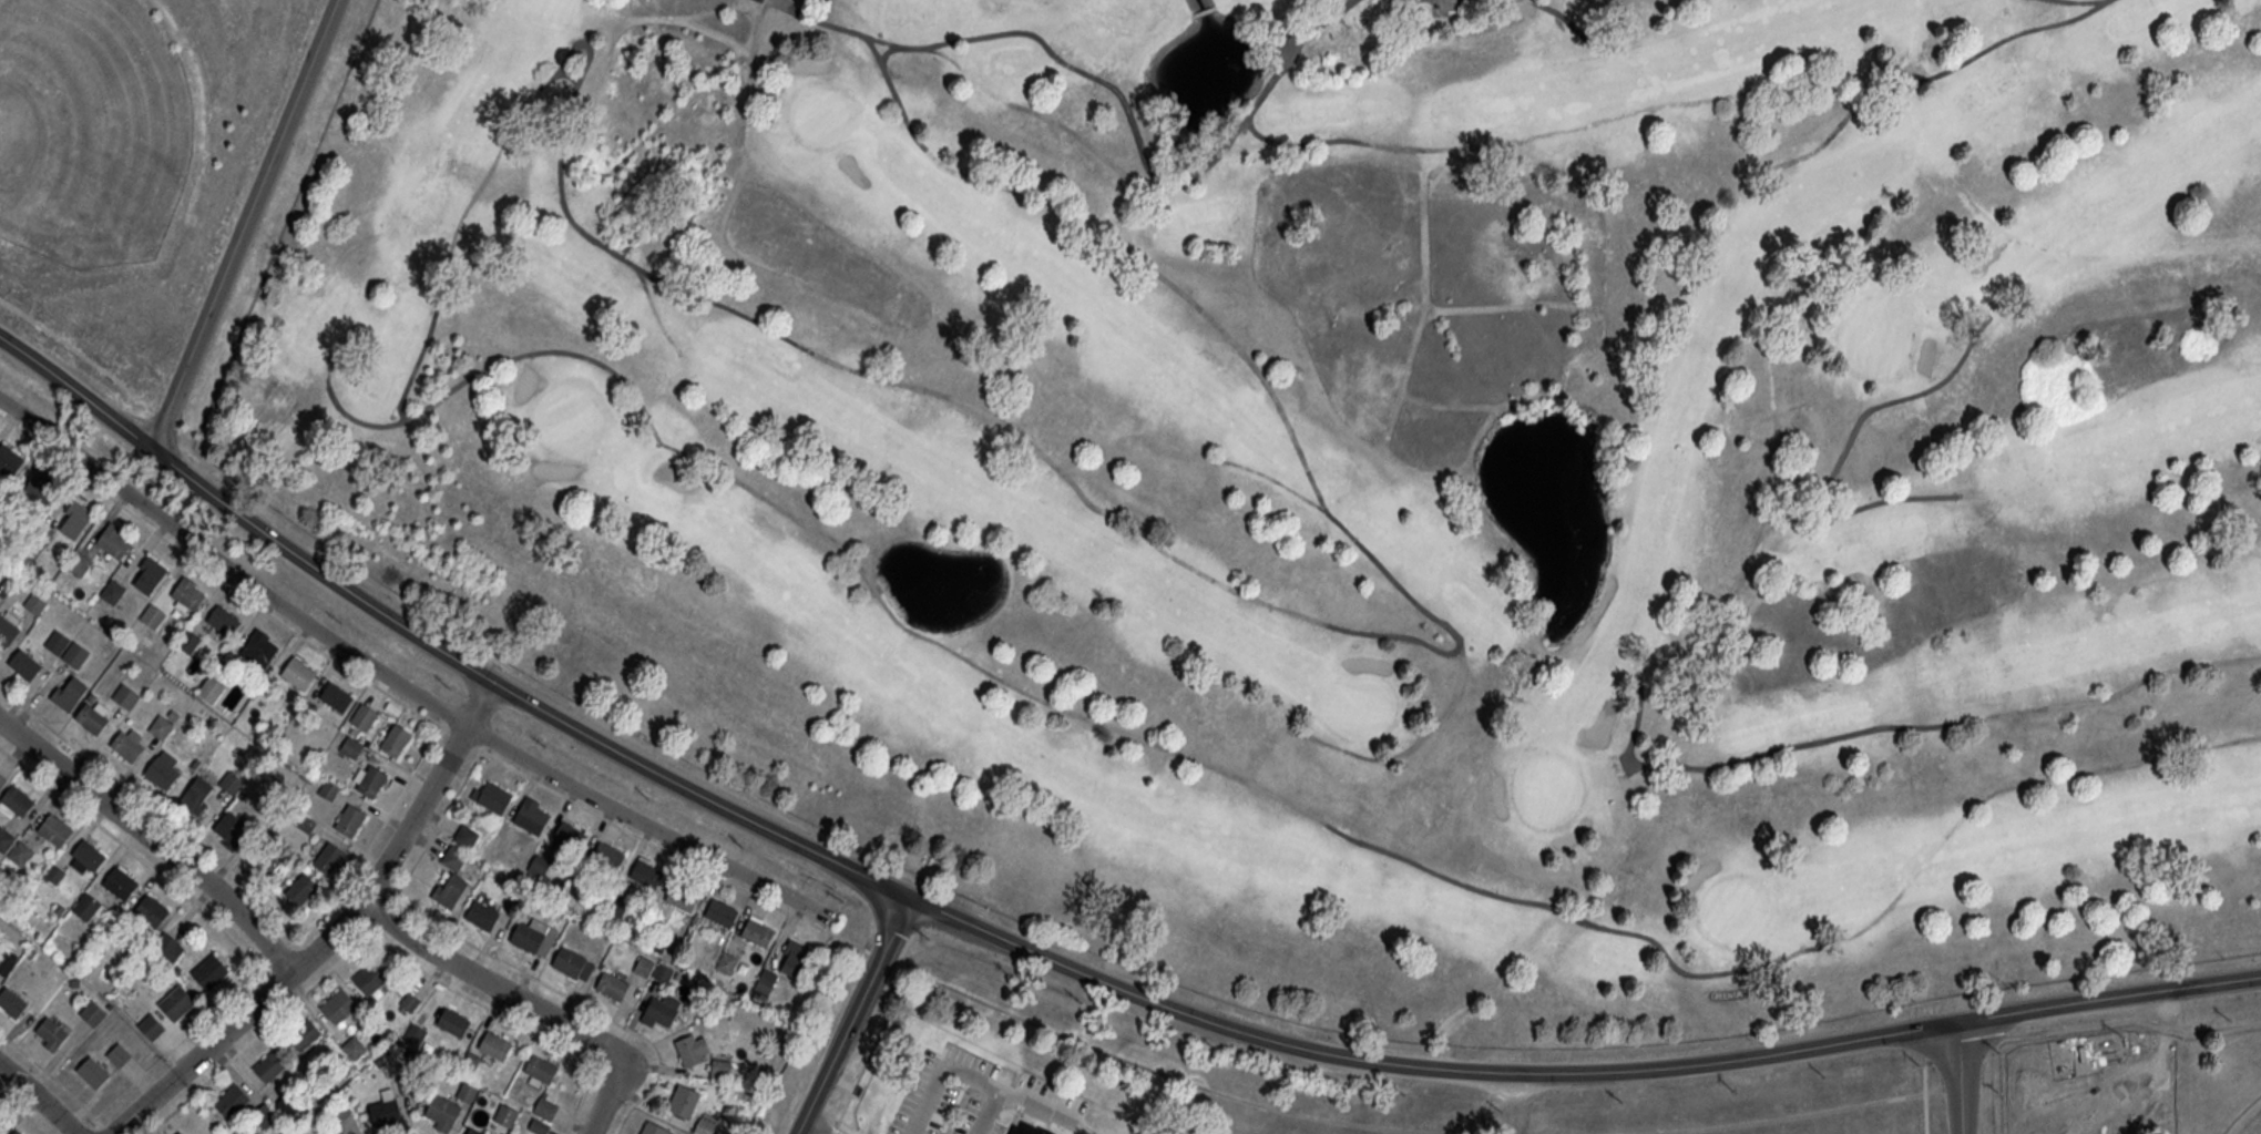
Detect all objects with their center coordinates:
building: (759, 1)
park: (89, 129)
road: (252, 224)
road: (79, 351)
road: (162, 417)
building: (9, 460)
park: (1349, 466)
building: (41, 487)
building: (74, 519)
building: (115, 540)
building: (78, 562)
road: (233, 564)
building: (149, 574)
building: (113, 591)
building: (187, 594)
building: (34, 603)
building: (153, 615)
building: (224, 620)
building: (8, 625)
building: (188, 640)
building: (58, 641)
building: (260, 647)
building: (75, 654)
building: (24, 664)
building: (298, 672)
building: (69, 691)
road: (9, 693)
building: (126, 695)
building: (337, 696)
road: (485, 703)
building: (93, 714)
building: (364, 716)
road: (426, 716)
building: (163, 724)
building: (397, 739)
building: (129, 743)
building: (351, 747)
road: (10, 754)
building: (164, 768)
building: (369, 779)
building: (231, 781)
building: (329, 788)
building: (198, 794)
building: (16, 801)
building: (532, 815)
building: (350, 819)
road: (651, 821)
building: (55, 829)
building: (231, 829)
road: (158, 832)
building: (465, 836)
building: (571, 837)
building: (4, 838)
building: (20, 852)
building: (608, 854)
building: (86, 856)
building: (453, 857)
building: (331, 858)
building: (267, 859)
building: (540, 865)
building: (646, 872)
building: (121, 881)
building: (450, 888)
building: (301, 889)
building: (683, 895)
building: (88, 906)
building: (151, 909)
building: (720, 911)
building: (482, 913)
building: (758, 930)
building: (534, 936)
building: (168, 944)
road: (319, 950)
road: (1055, 957)
building: (795, 958)
building: (570, 960)
building: (8, 961)
building: (726, 962)
building: (211, 970)
building: (370, 977)
building: (766, 980)
building: (612, 984)
building: (12, 1001)
building: (176, 1001)
road: (530, 1003)
building: (338, 1004)
building: (662, 1009)
building: (93, 1012)
road: (859, 1014)
road: (2116, 1019)
building: (453, 1021)
building: (151, 1025)
building: (52, 1031)
building: (305, 1033)
building: (415, 1034)
road: (10, 1041)
building: (495, 1044)
building: (355, 1046)
building: (693, 1049)
road: (871, 1052)
building: (119, 1054)
building: (270, 1065)
building: (541, 1067)
building: (720, 1067)
road: (962, 1070)
building: (93, 1071)
road: (1164, 1072)
road: (1925, 1072)
road: (1971, 1076)
park: (2131, 1077)
parking lot: (1015, 1086)
building: (467, 1091)
road: (44, 1094)
road: (11, 1099)
building: (232, 1100)
building: (684, 1100)
road: (954, 1103)
building: (287, 1105)
building: (546, 1106)
building: (386, 1109)
road: (1050, 1110)
building: (442, 1112)
building: (0, 1114)
building: (266, 1114)
building: (507, 1114)
road: (1770, 1118)
building: (707, 1124)
park: (2250, 1124)
road: (820, 1126)
building: (655, 1128)
road: (848, 1128)
building: (474, 1131)
building: (17, 1132)
building: (181, 1132)
building: (337, 1133)
building: (1041, 1133)

